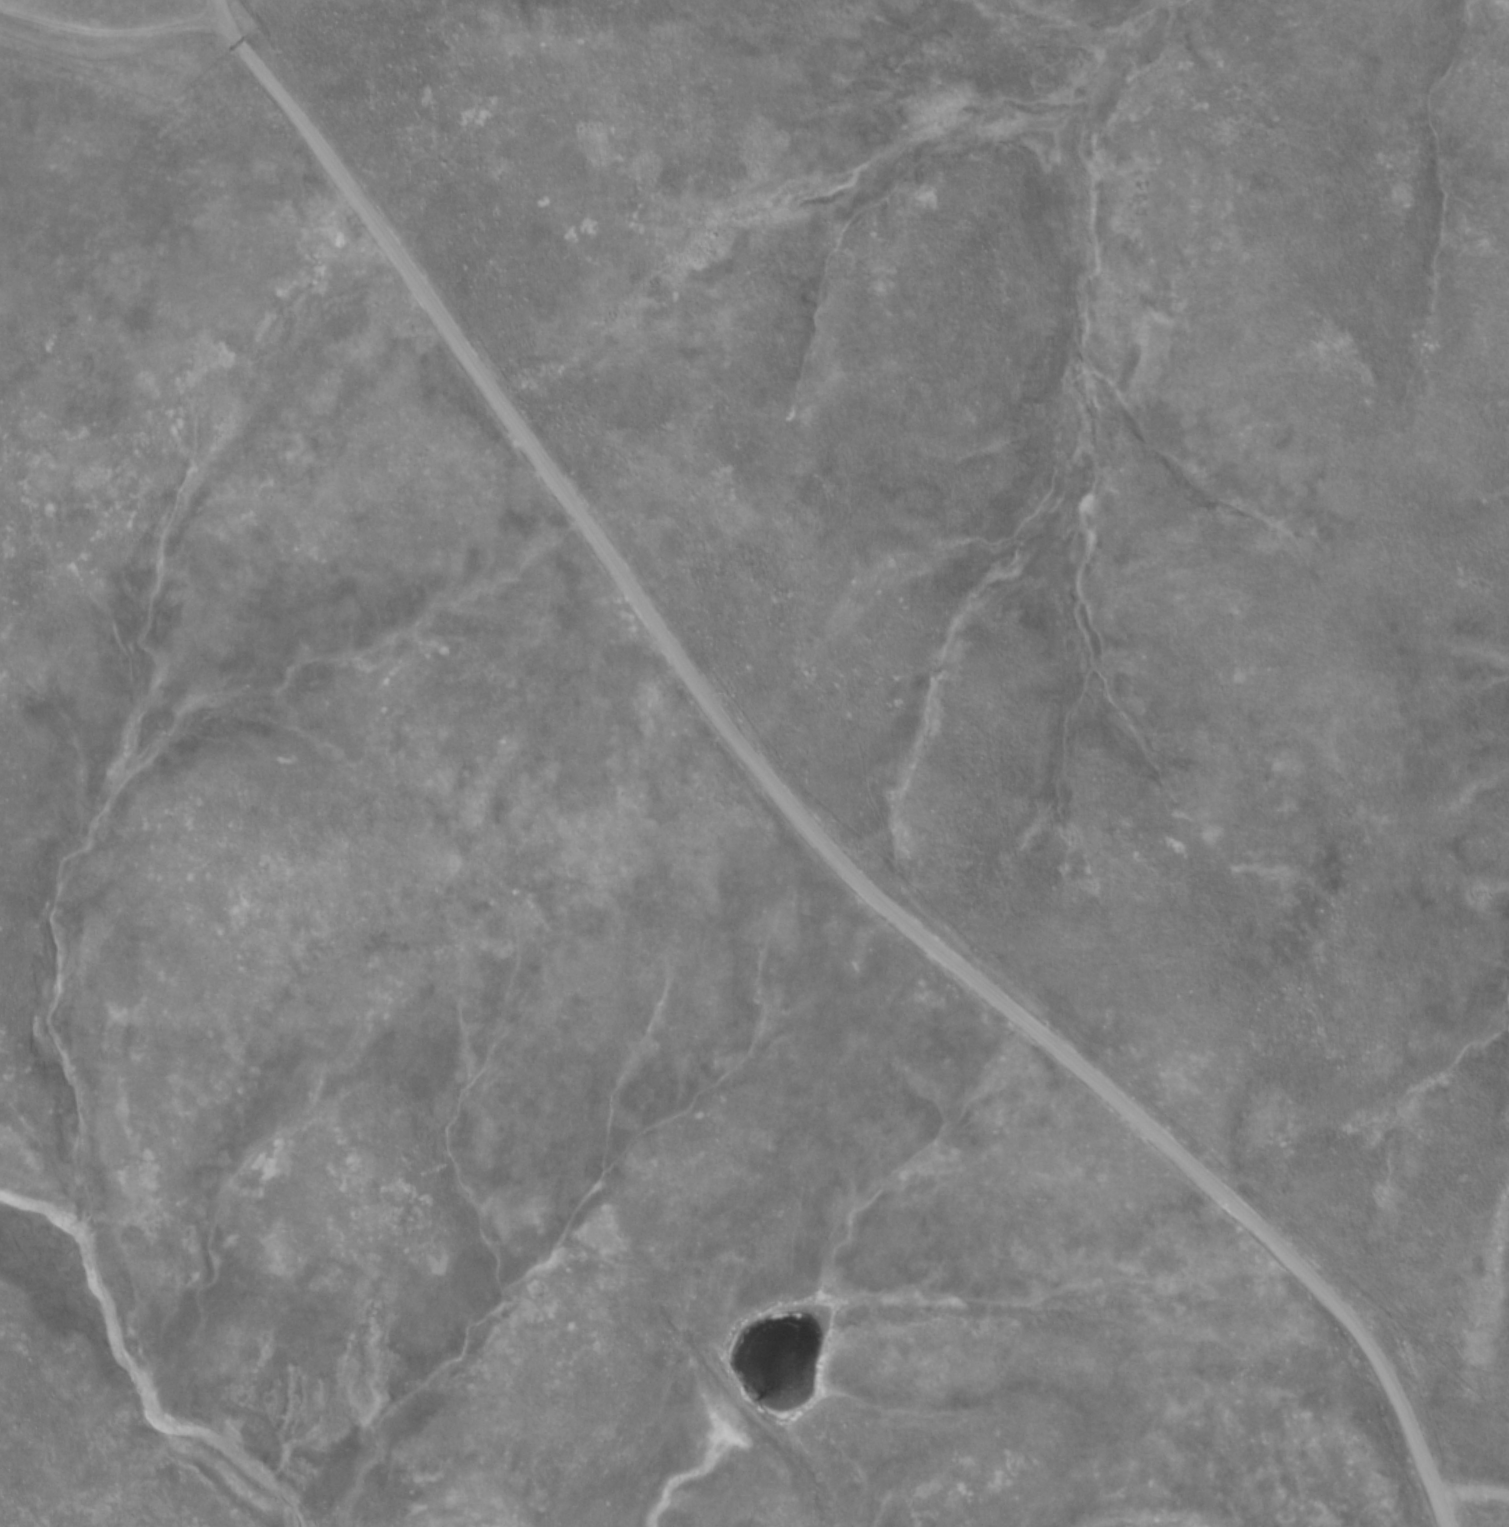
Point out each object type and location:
road: (111, 51)
road: (785, 806)

